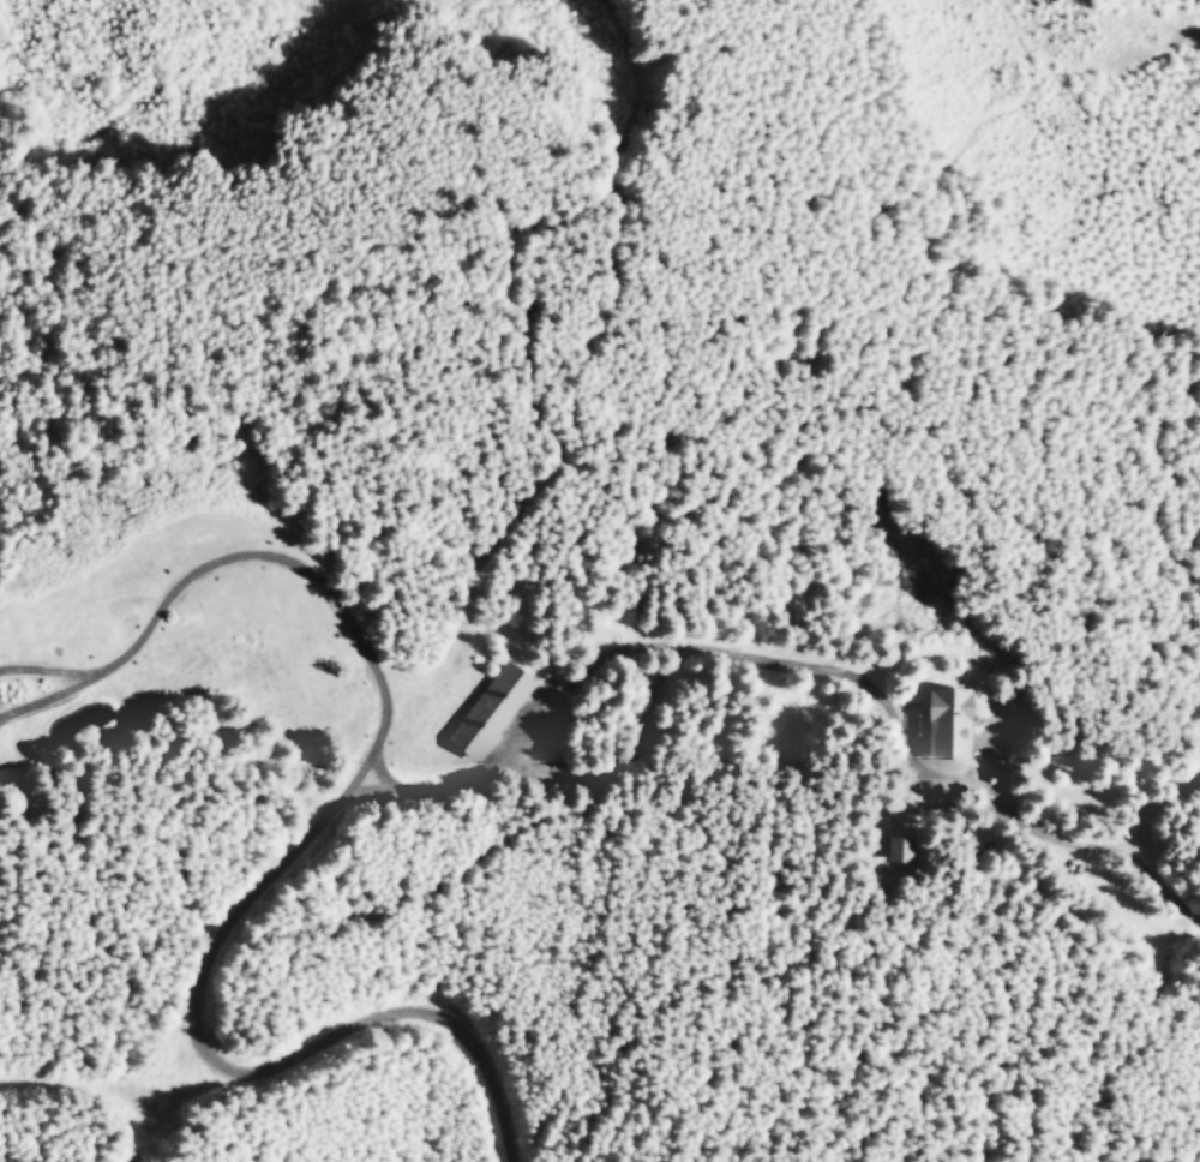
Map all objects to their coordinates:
road: (1168, 40)
road: (308, 575)
road: (41, 669)
road: (38, 697)
building: (488, 707)
road: (649, 730)
road: (1090, 845)
road: (210, 957)
road: (414, 1007)
road: (125, 1095)

